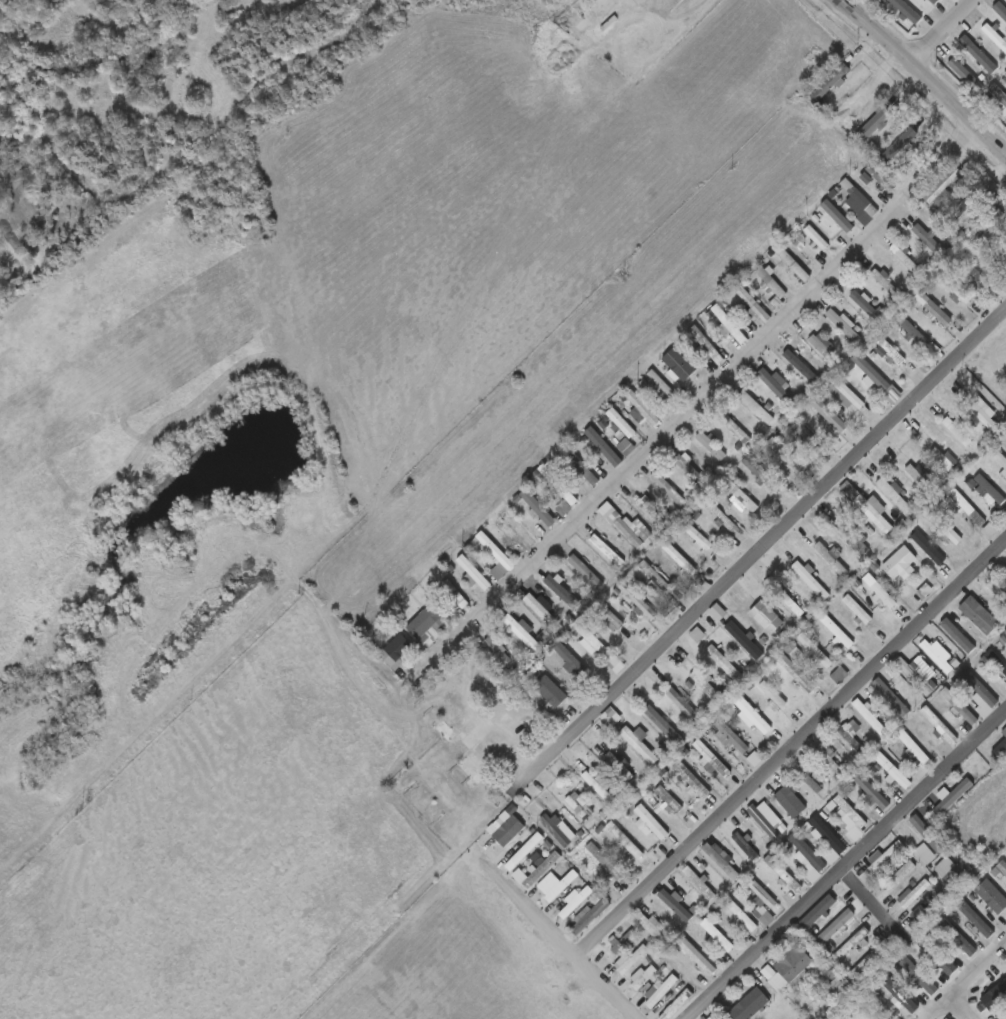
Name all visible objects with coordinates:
building: (887, 1)
building: (936, 1)
building: (1001, 9)
building: (908, 10)
building: (601, 11)
road: (941, 33)
building: (996, 35)
building: (978, 55)
building: (967, 75)
road: (922, 80)
building: (999, 93)
building: (876, 125)
building: (899, 143)
building: (885, 180)
building: (945, 184)
building: (860, 198)
building: (963, 208)
building: (838, 215)
building: (979, 233)
building: (815, 238)
building: (931, 240)
building: (905, 256)
building: (999, 259)
building: (791, 261)
building: (973, 265)
building: (772, 283)
building: (888, 283)
building: (957, 287)
building: (753, 302)
building: (868, 304)
building: (934, 309)
building: (728, 324)
building: (846, 326)
building: (919, 338)
building: (709, 347)
building: (824, 347)
building: (891, 354)
building: (683, 367)
building: (872, 374)
building: (662, 386)
building: (778, 388)
building: (849, 394)
building: (760, 405)
building: (644, 408)
road: (690, 408)
building: (829, 415)
building: (985, 415)
building: (735, 426)
building: (626, 428)
building: (956, 433)
building: (806, 435)
building: (713, 446)
building: (604, 447)
building: (1001, 457)
building: (943, 458)
building: (584, 467)
building: (690, 468)
building: (763, 475)
building: (918, 479)
building: (557, 487)
building: (991, 488)
building: (674, 489)
building: (897, 494)
building: (743, 495)
building: (534, 506)
building: (969, 506)
building: (873, 507)
building: (607, 512)
building: (650, 512)
building: (721, 515)
building: (947, 527)
building: (517, 528)
building: (635, 532)
building: (853, 535)
building: (699, 537)
building: (606, 548)
road: (754, 553)
building: (496, 554)
building: (834, 556)
building: (680, 558)
building: (907, 558)
building: (934, 560)
building: (587, 570)
building: (656, 577)
building: (813, 578)
building: (999, 589)
building: (565, 590)
building: (881, 590)
building: (455, 597)
building: (639, 601)
building: (788, 603)
building: (859, 609)
building: (543, 611)
building: (983, 615)
building: (429, 620)
building: (610, 620)
building: (773, 625)
building: (522, 631)
building: (839, 631)
building: (961, 634)
building: (697, 637)
building: (745, 639)
building: (595, 642)
building: (397, 651)
building: (816, 651)
building: (501, 653)
building: (938, 654)
building: (936, 659)
building: (572, 660)
building: (727, 661)
building: (997, 662)
building: (796, 673)
building: (916, 674)
building: (839, 677)
building: (707, 683)
road: (466, 688)
building: (552, 691)
building: (982, 693)
building: (776, 695)
building: (894, 698)
building: (686, 704)
building: (961, 706)
building: (428, 715)
building: (752, 715)
building: (873, 716)
road: (822, 717)
building: (611, 719)
building: (517, 721)
building: (665, 725)
building: (940, 725)
building: (441, 726)
building: (809, 729)
building: (1004, 732)
building: (479, 733)
building: (733, 735)
building: (640, 743)
building: (851, 743)
building: (917, 749)
building: (1000, 750)
road: (508, 758)
building: (712, 759)
building: (831, 759)
building: (754, 761)
building: (620, 764)
building: (474, 768)
building: (893, 770)
building: (809, 776)
building: (692, 779)
building: (806, 780)
building: (599, 786)
building: (872, 791)
building: (953, 796)
building: (415, 799)
building: (787, 799)
building: (669, 801)
building: (577, 807)
building: (852, 811)
building: (647, 819)
building: (765, 821)
building: (557, 828)
building: (827, 834)
building: (929, 834)
building: (627, 842)
building: (669, 845)
building: (524, 848)
building: (745, 848)
building: (723, 855)
building: (806, 857)
building: (885, 858)
building: (605, 862)
road: (844, 866)
building: (1001, 867)
building: (542, 869)
building: (902, 872)
building: (784, 874)
building: (959, 875)
building: (700, 882)
building: (560, 885)
building: (914, 894)
building: (576, 901)
road: (865, 901)
building: (763, 902)
building: (677, 904)
road: (528, 906)
building: (820, 912)
building: (929, 912)
building: (589, 915)
building: (742, 915)
building: (974, 919)
building: (653, 927)
building: (836, 928)
building: (716, 934)
building: (960, 938)
building: (854, 943)
building: (623, 944)
road: (576, 954)
building: (939, 955)
building: (697, 957)
building: (631, 961)
building: (866, 964)
building: (790, 969)
building: (643, 976)
building: (920, 976)
road: (966, 982)
building: (660, 990)
building: (834, 991)
building: (901, 994)
building: (994, 997)
building: (675, 1005)
building: (751, 1005)
road: (961, 1007)
building: (711, 1018)

